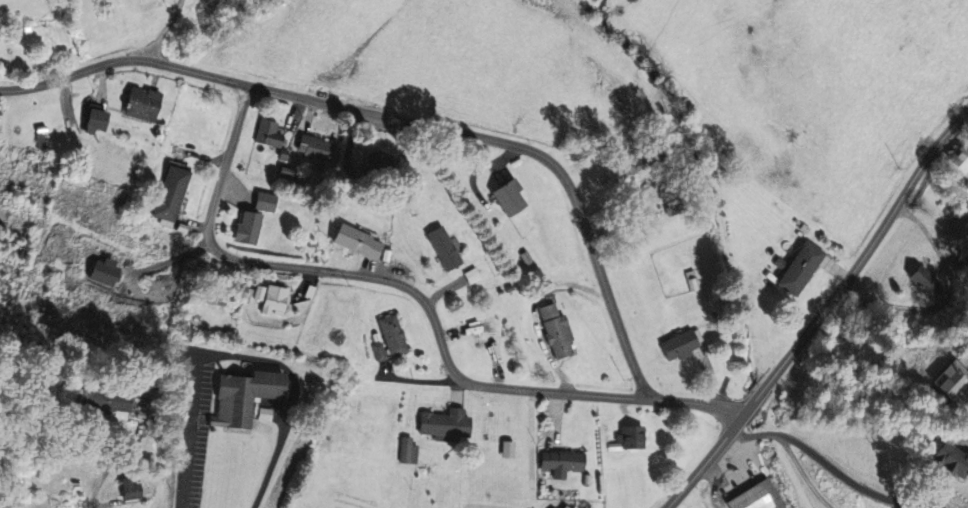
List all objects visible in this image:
road: (163, 29)
building: (144, 105)
road: (401, 118)
building: (97, 121)
building: (269, 132)
building: (316, 148)
building: (961, 159)
building: (380, 163)
building: (172, 191)
building: (510, 197)
building: (266, 202)
building: (249, 228)
building: (359, 242)
building: (444, 248)
building: (801, 268)
building: (106, 272)
building: (472, 275)
building: (928, 284)
road: (419, 296)
road: (948, 299)
building: (275, 300)
road: (823, 314)
building: (557, 331)
building: (392, 335)
building: (680, 345)
building: (379, 351)
road: (239, 354)
building: (964, 360)
building: (952, 379)
building: (245, 397)
building: (113, 402)
building: (264, 414)
building: (446, 425)
building: (629, 438)
road: (548, 449)
building: (408, 450)
road: (794, 453)
building: (952, 460)
building: (562, 462)
road: (851, 480)
building: (130, 489)

